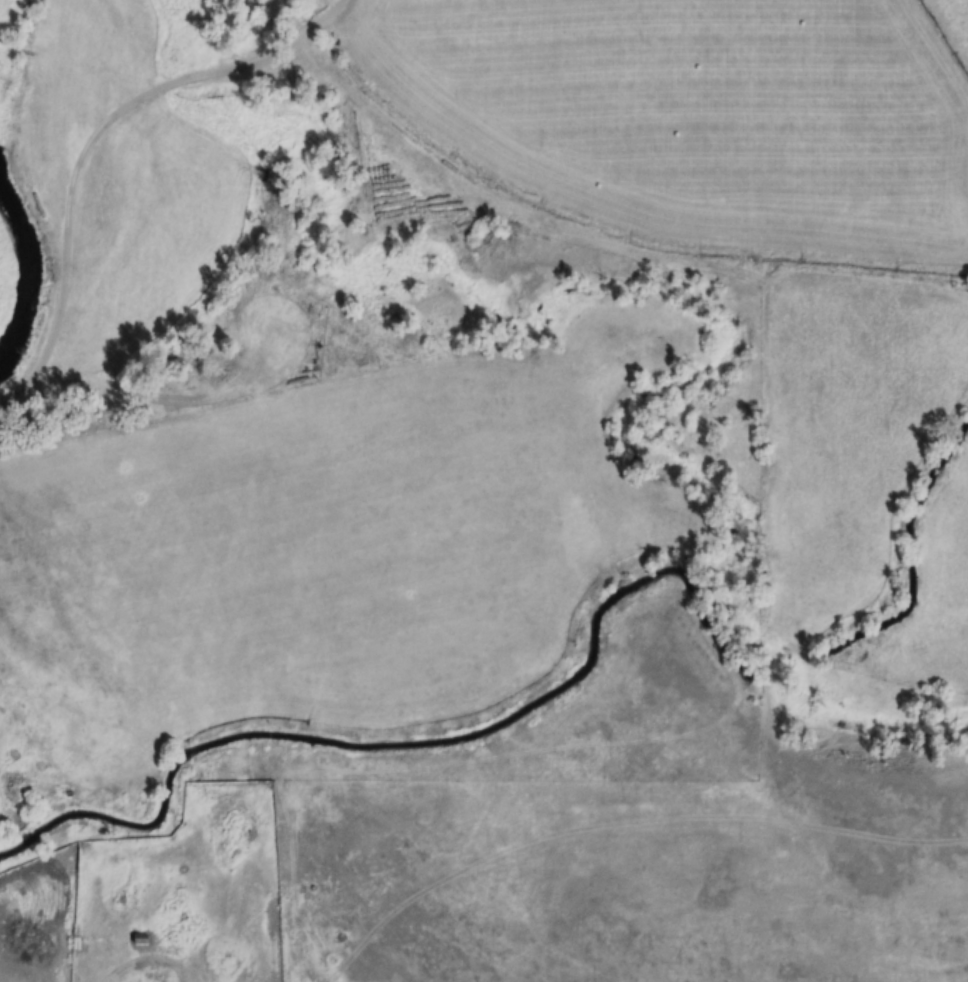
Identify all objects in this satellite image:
river: (26, 281)

